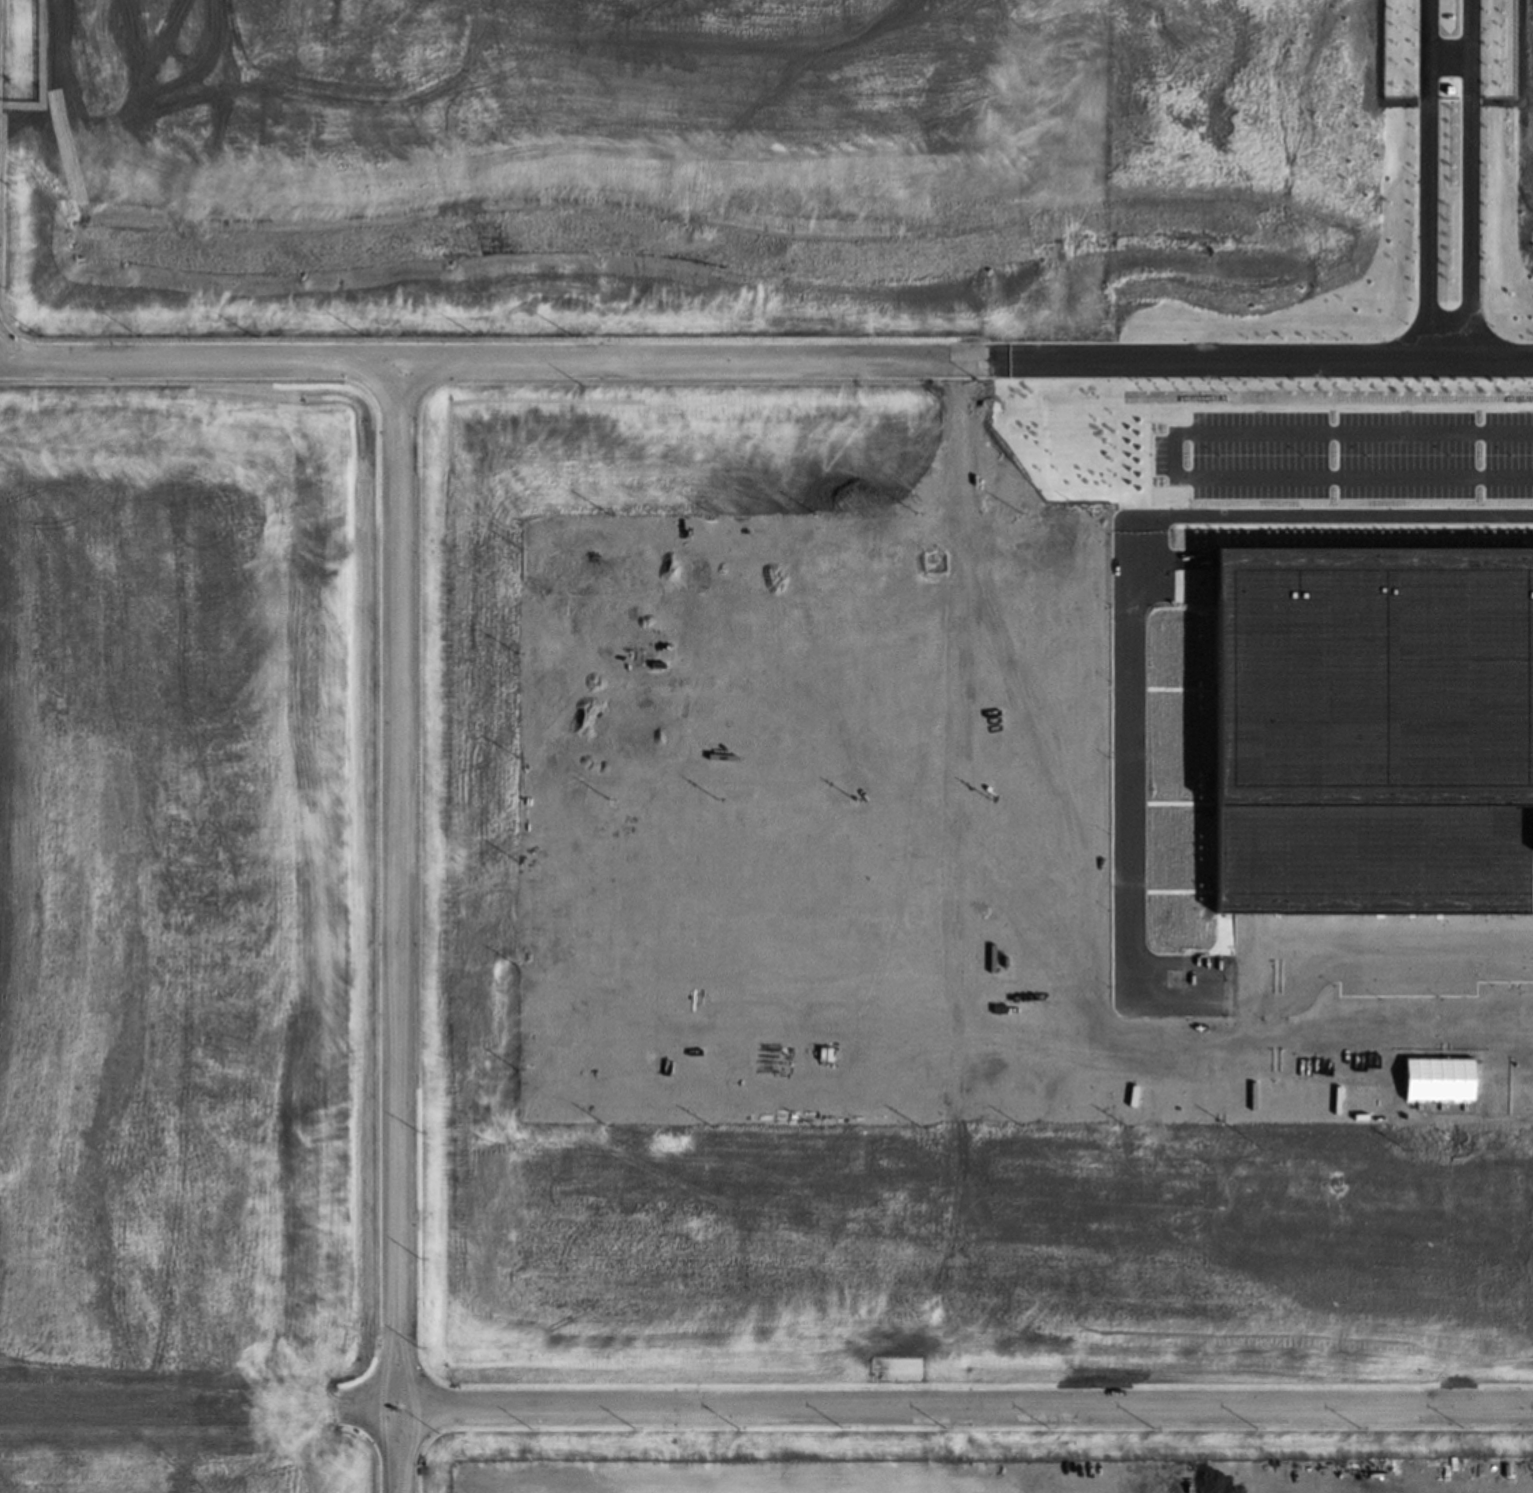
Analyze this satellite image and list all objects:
road: (1449, 56)
road: (1428, 180)
road: (1470, 180)
road: (714, 360)
road: (1481, 361)
parking lot: (1349, 454)
road: (1175, 455)
building: (1373, 731)
road: (1132, 763)
road: (399, 926)
building: (1440, 1078)
road: (935, 1407)

